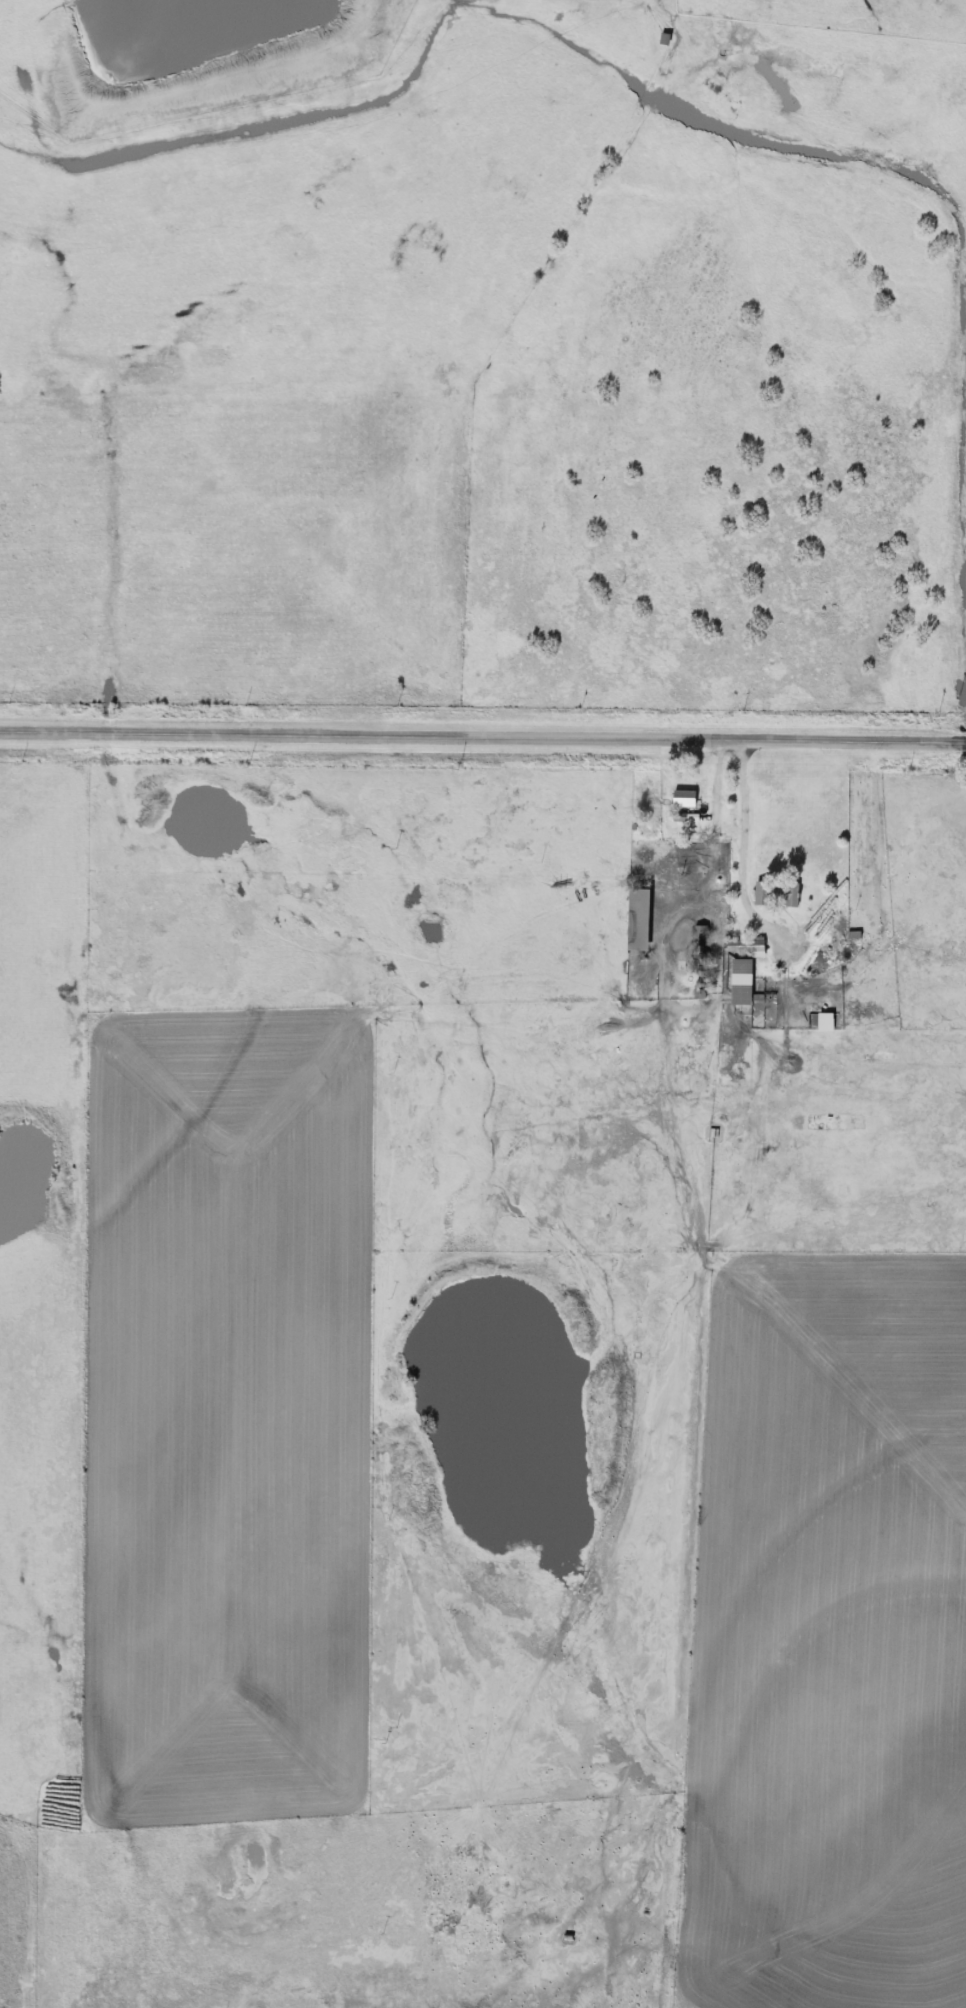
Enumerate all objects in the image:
building: (662, 39)
road: (483, 731)
building: (681, 798)
building: (774, 894)
building: (636, 920)
building: (743, 946)
building: (739, 982)
building: (822, 1022)

